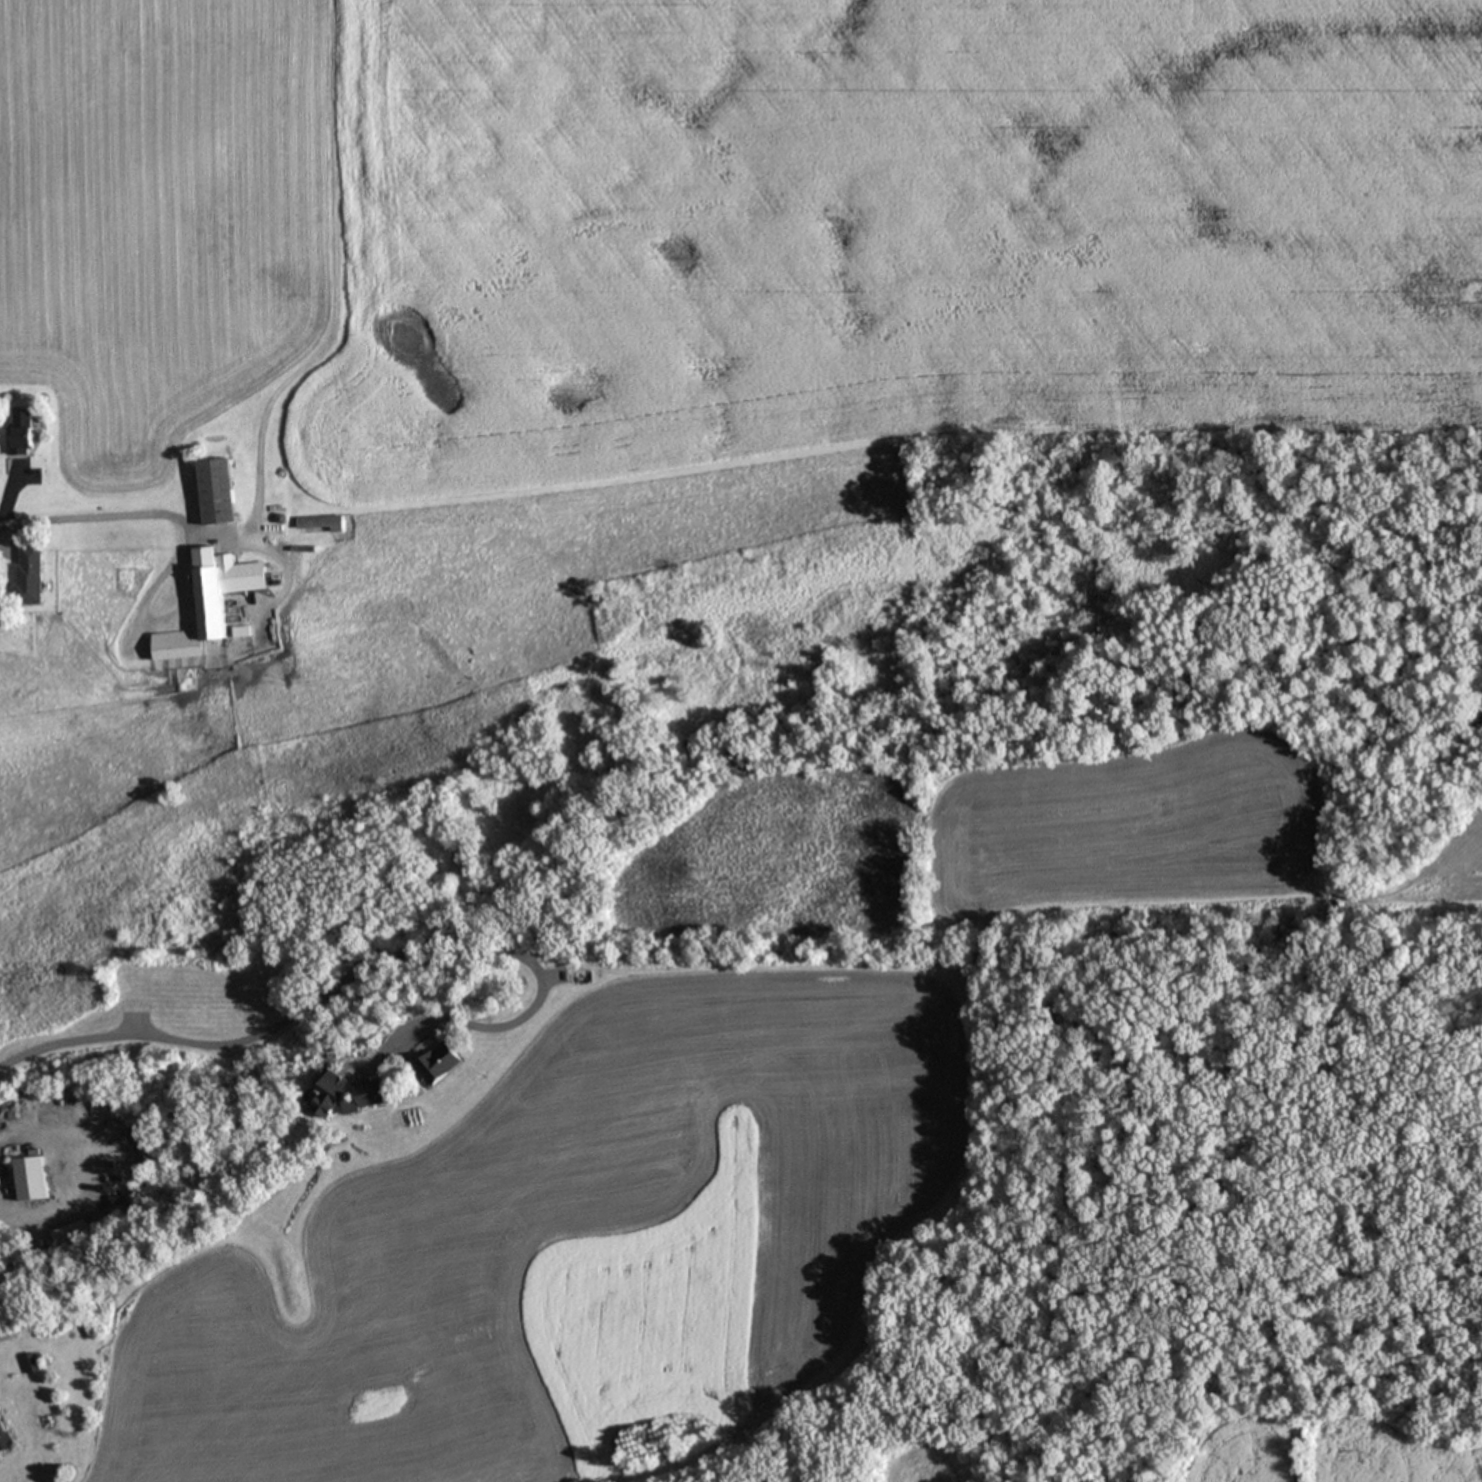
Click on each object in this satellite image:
building: (25, 434)
building: (222, 493)
road: (149, 514)
building: (324, 526)
building: (33, 577)
building: (214, 606)
road: (358, 971)
building: (443, 1065)
building: (357, 1096)
building: (124, 1098)
building: (143, 1151)
road: (69, 1172)
building: (32, 1181)
building: (5, 1437)

